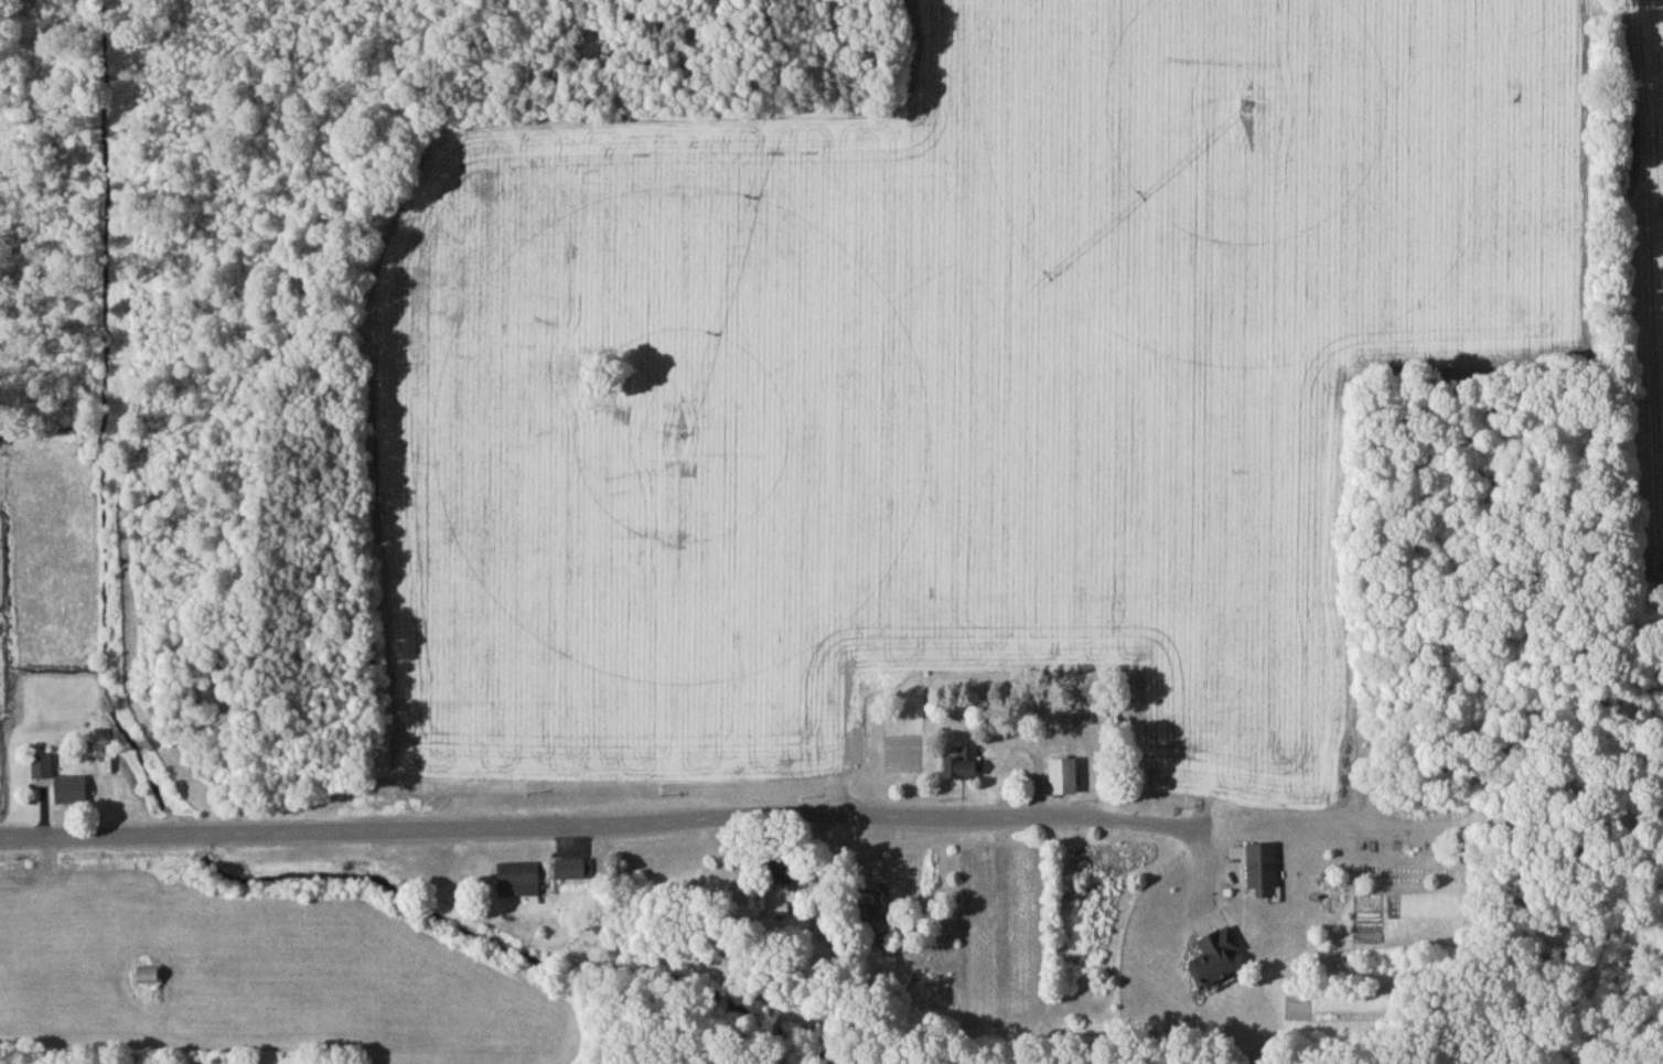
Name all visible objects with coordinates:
building: (965, 767)
building: (42, 770)
building: (1065, 781)
building: (72, 793)
road: (1156, 818)
road: (522, 826)
building: (576, 872)
building: (1264, 872)
building: (518, 882)
building: (748, 918)
building: (1220, 963)
building: (149, 979)

